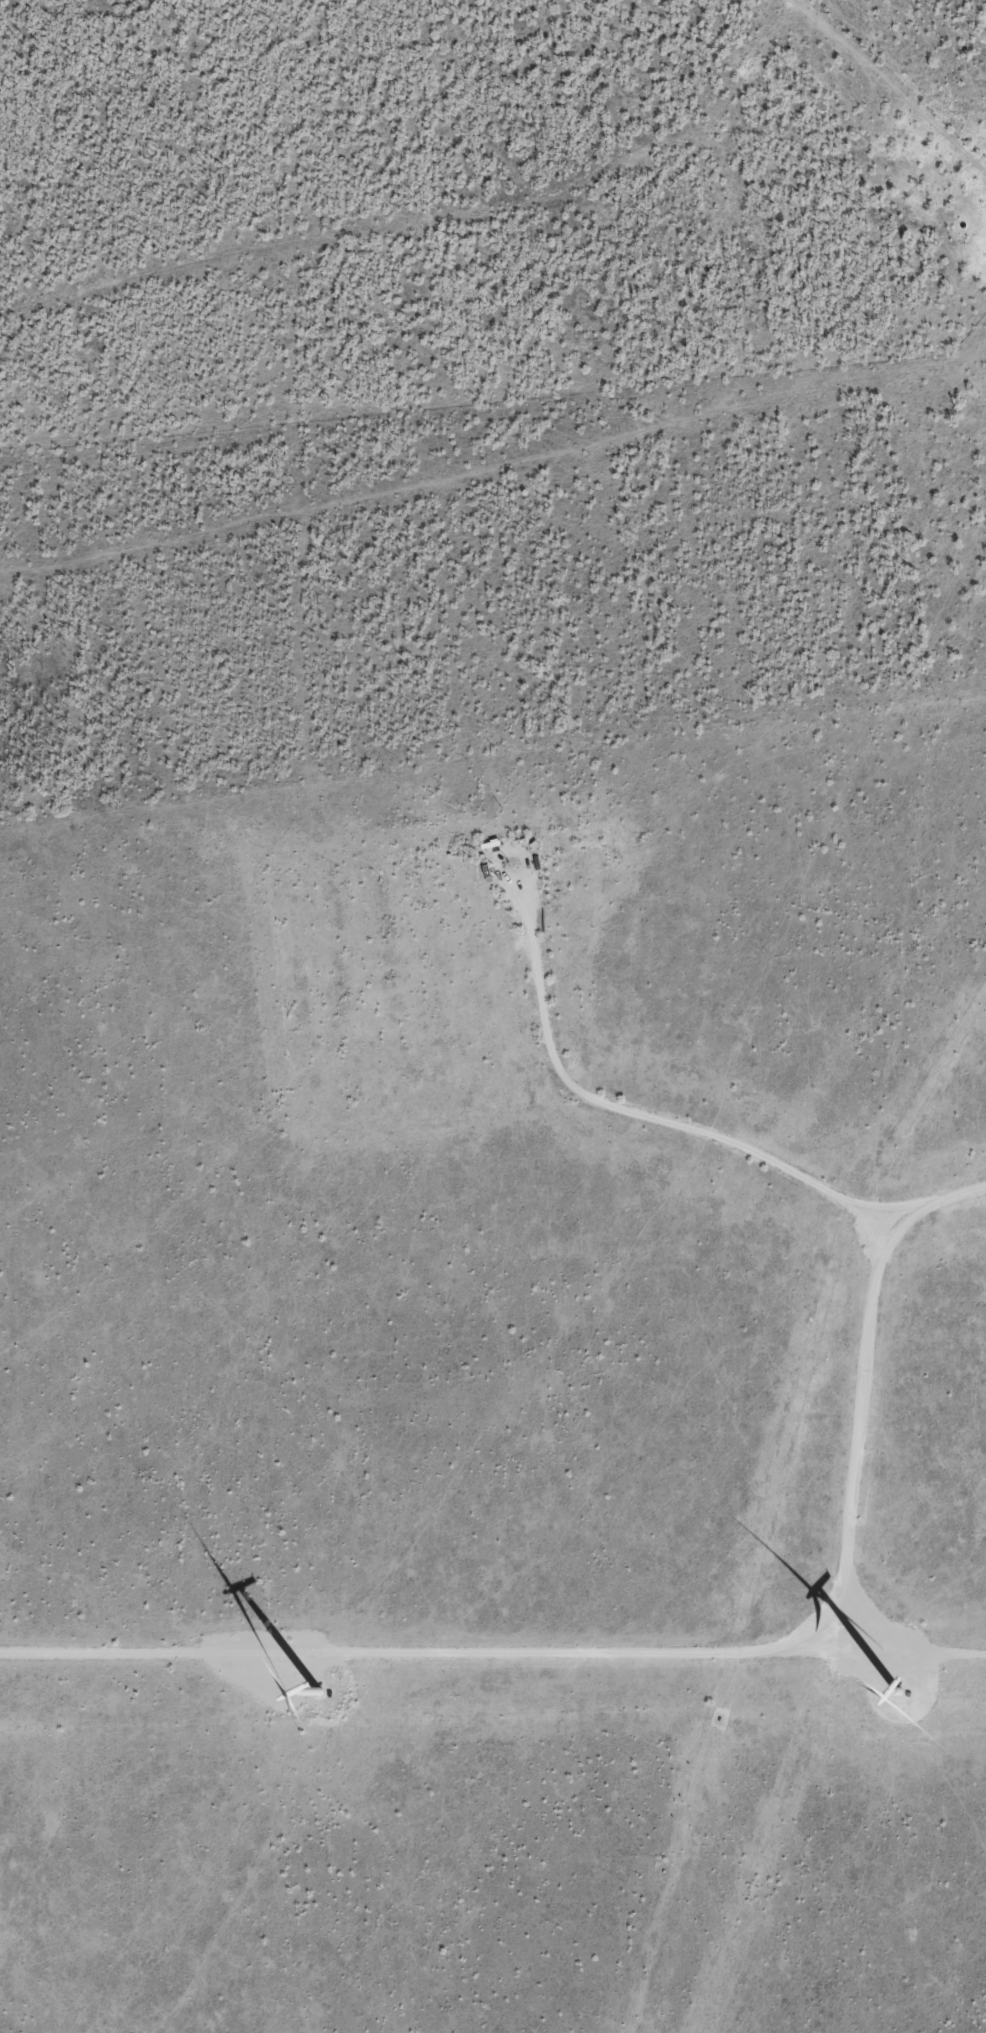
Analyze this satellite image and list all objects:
road: (448, 270)
road: (500, 569)
wind turbine: (327, 1683)
wind turbine: (906, 1683)

